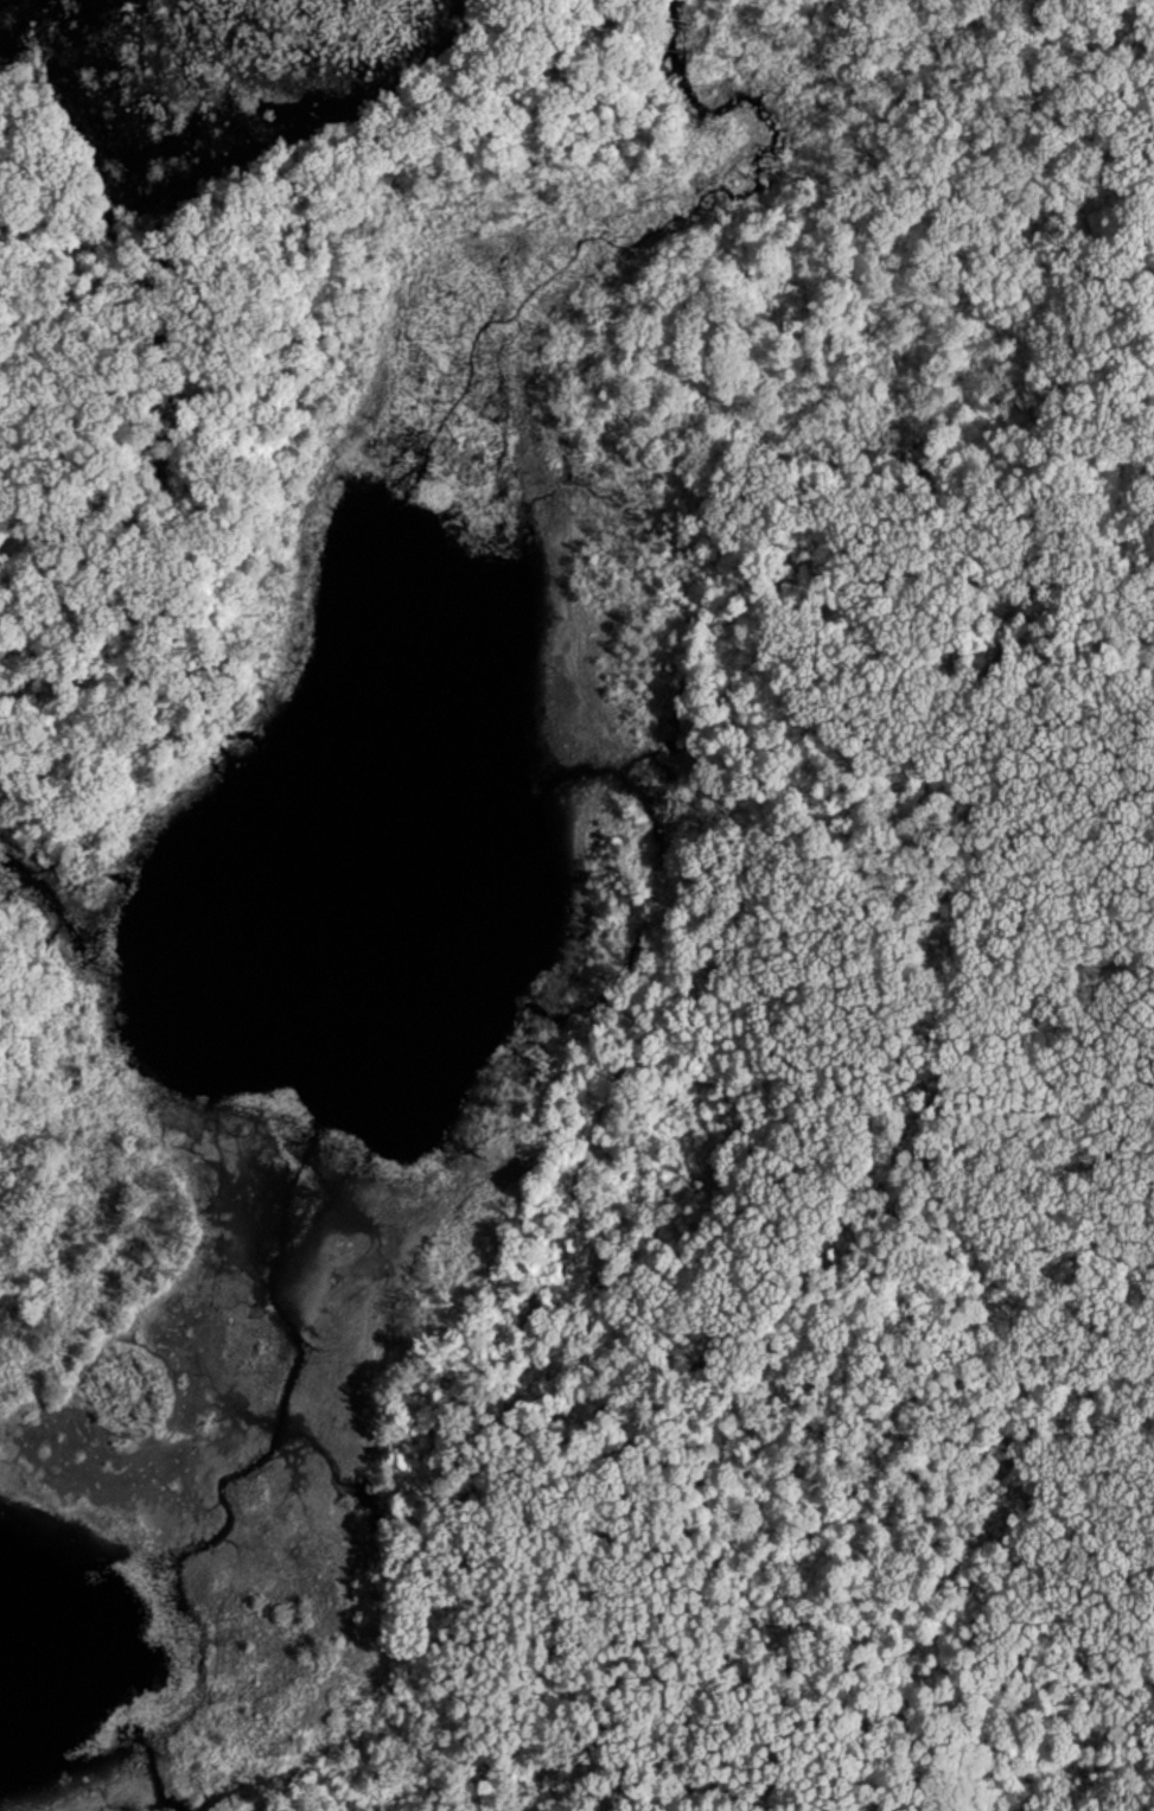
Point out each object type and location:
road: (1148, 36)
road: (243, 388)
road: (1141, 435)
road: (126, 685)
park: (576, 905)

